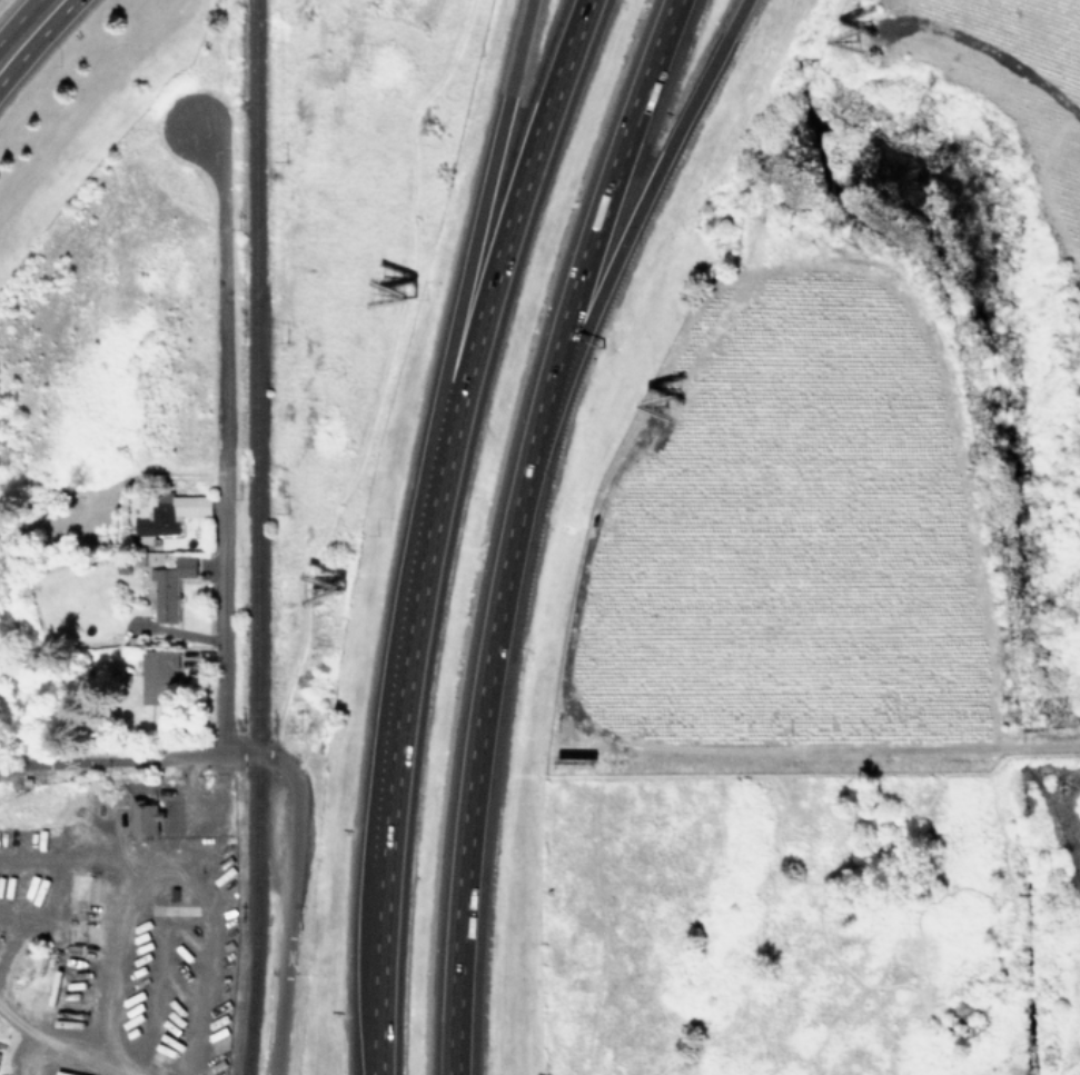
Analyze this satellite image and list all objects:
road: (17, 19)
road: (33, 40)
crop: (1010, 77)
road: (625, 237)
road: (495, 255)
road: (466, 256)
railway: (254, 427)
road: (221, 432)
building: (165, 516)
road: (511, 527)
crop: (787, 550)
building: (170, 587)
building: (157, 674)
road: (396, 699)
road: (112, 756)
building: (146, 816)
road: (168, 869)
road: (289, 886)
railway: (254, 965)
road: (375, 978)
road: (58, 1047)

